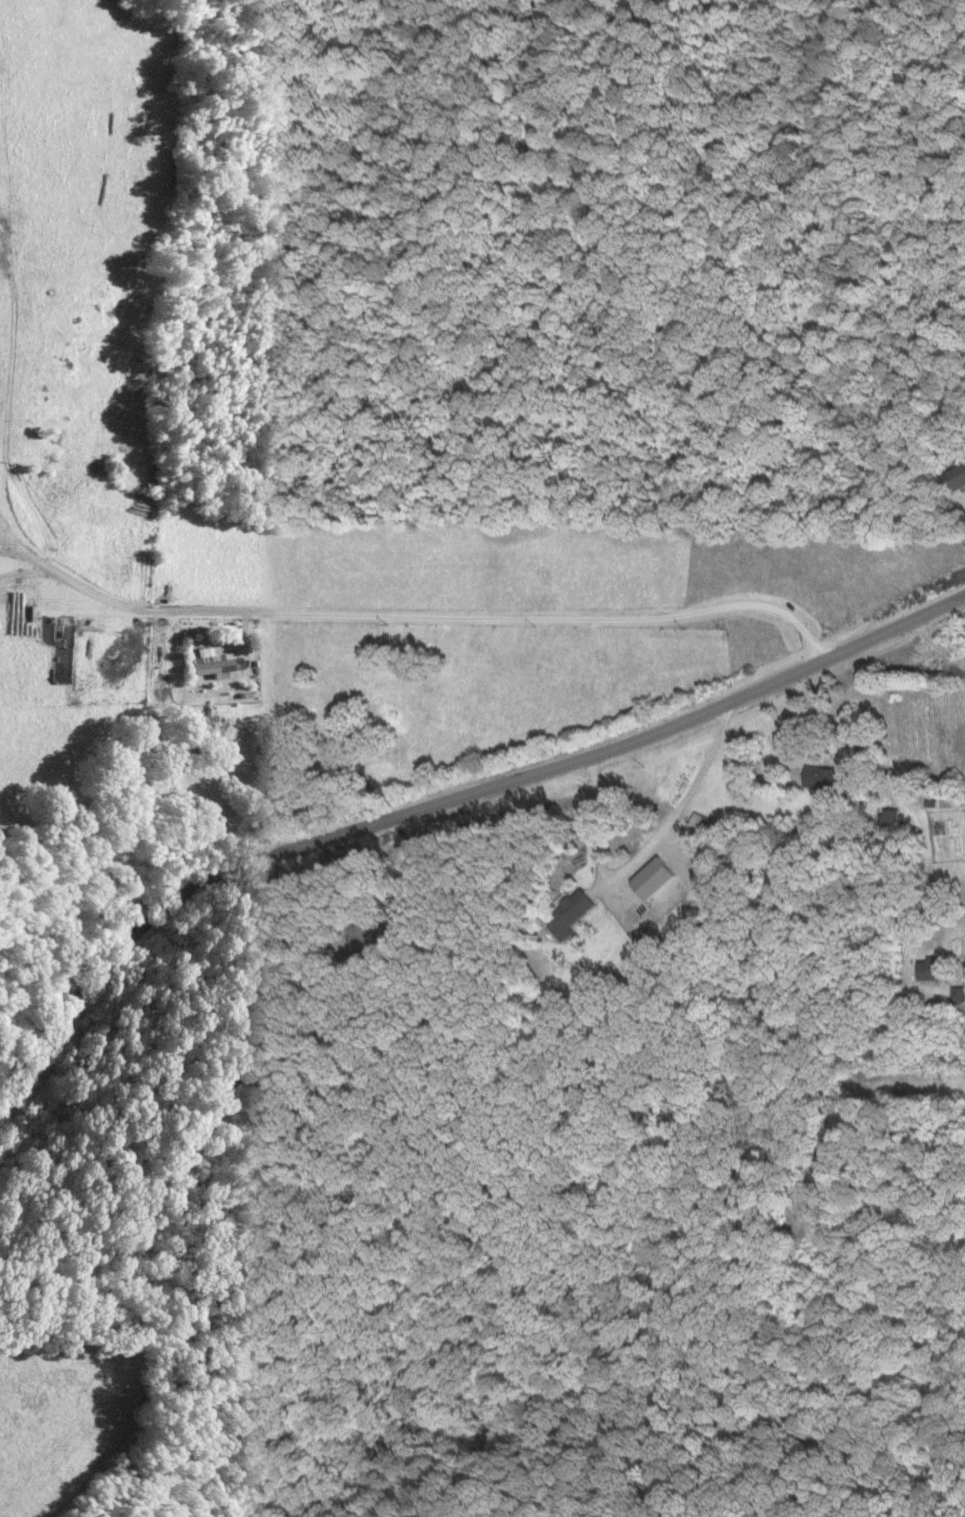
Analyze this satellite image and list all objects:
building: (951, 476)
road: (23, 556)
road: (21, 574)
road: (438, 616)
road: (933, 646)
building: (208, 662)
building: (813, 775)
road: (439, 796)
building: (885, 817)
road: (637, 849)
building: (645, 877)
building: (563, 912)
building: (353, 932)
building: (923, 967)

